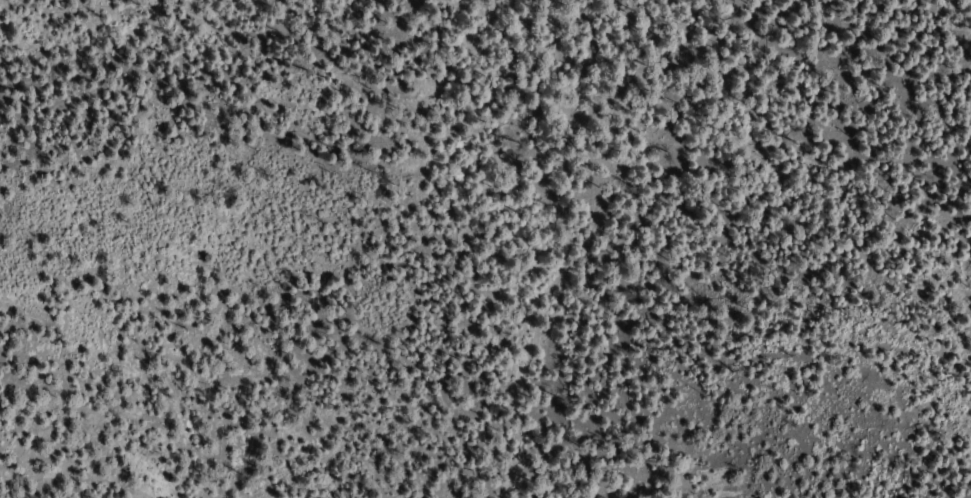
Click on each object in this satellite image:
road: (572, 247)

